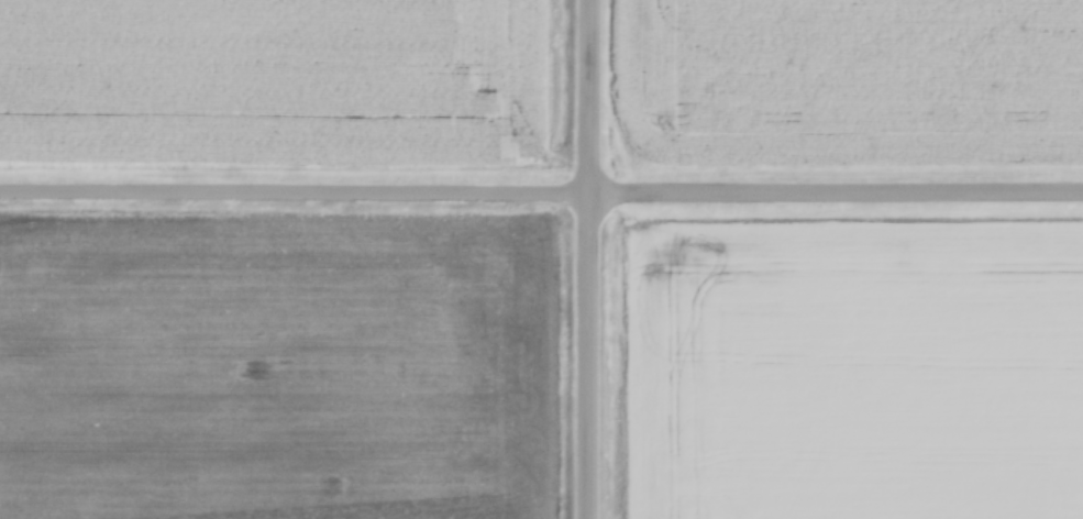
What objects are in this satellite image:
road: (541, 201)
road: (595, 259)

